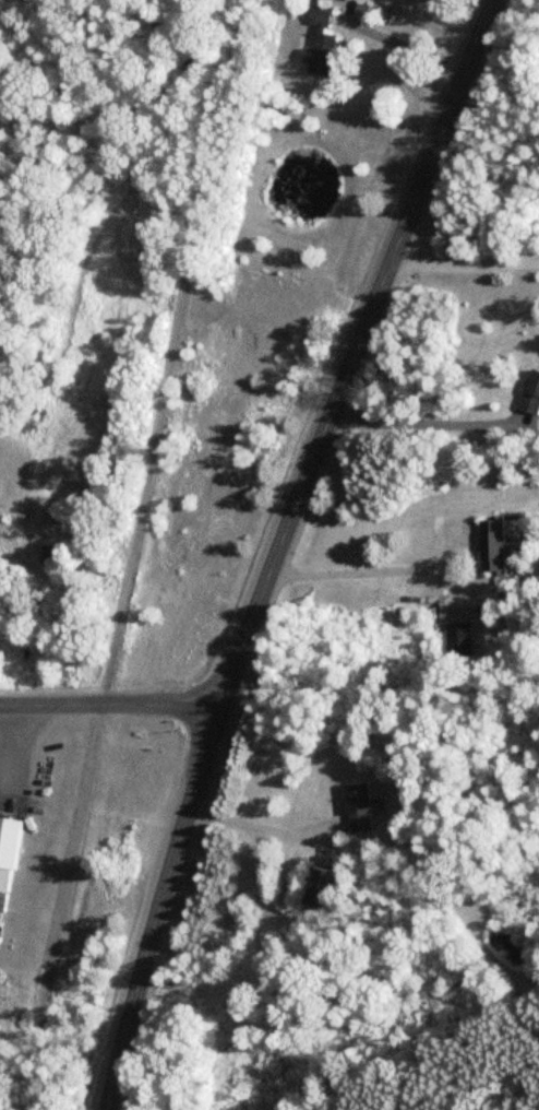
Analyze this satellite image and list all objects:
road: (403, 43)
building: (315, 45)
road: (462, 269)
building: (529, 394)
road: (421, 428)
road: (275, 547)
road: (129, 555)
road: (370, 557)
road: (109, 705)
building: (357, 807)
road: (260, 826)
building: (7, 854)
building: (315, 887)

